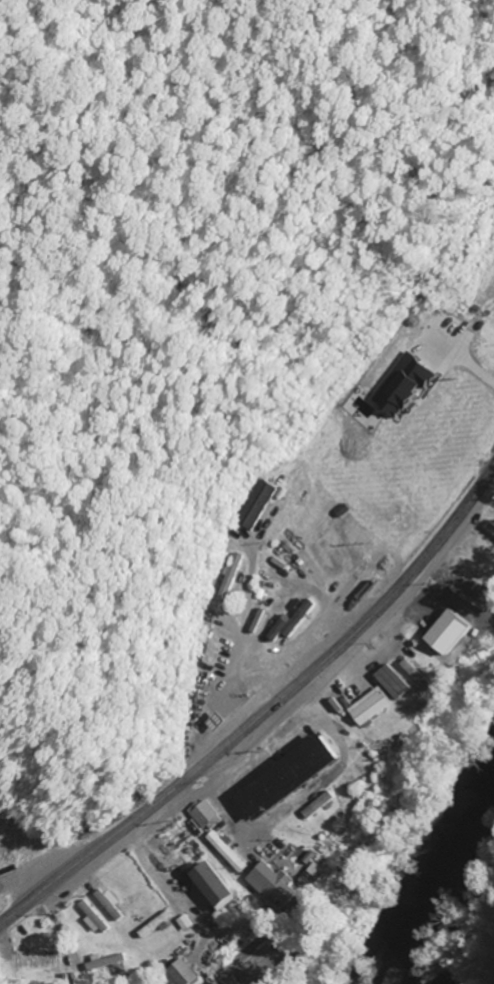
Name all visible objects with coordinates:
building: (396, 385)
building: (251, 505)
building: (489, 529)
building: (316, 563)
building: (224, 578)
building: (287, 623)
building: (444, 633)
building: (368, 708)
road: (263, 712)
building: (283, 778)
building: (199, 813)
building: (225, 853)
river: (441, 877)
building: (272, 883)
building: (209, 887)
building: (109, 904)
building: (92, 918)
building: (105, 962)
building: (181, 973)

